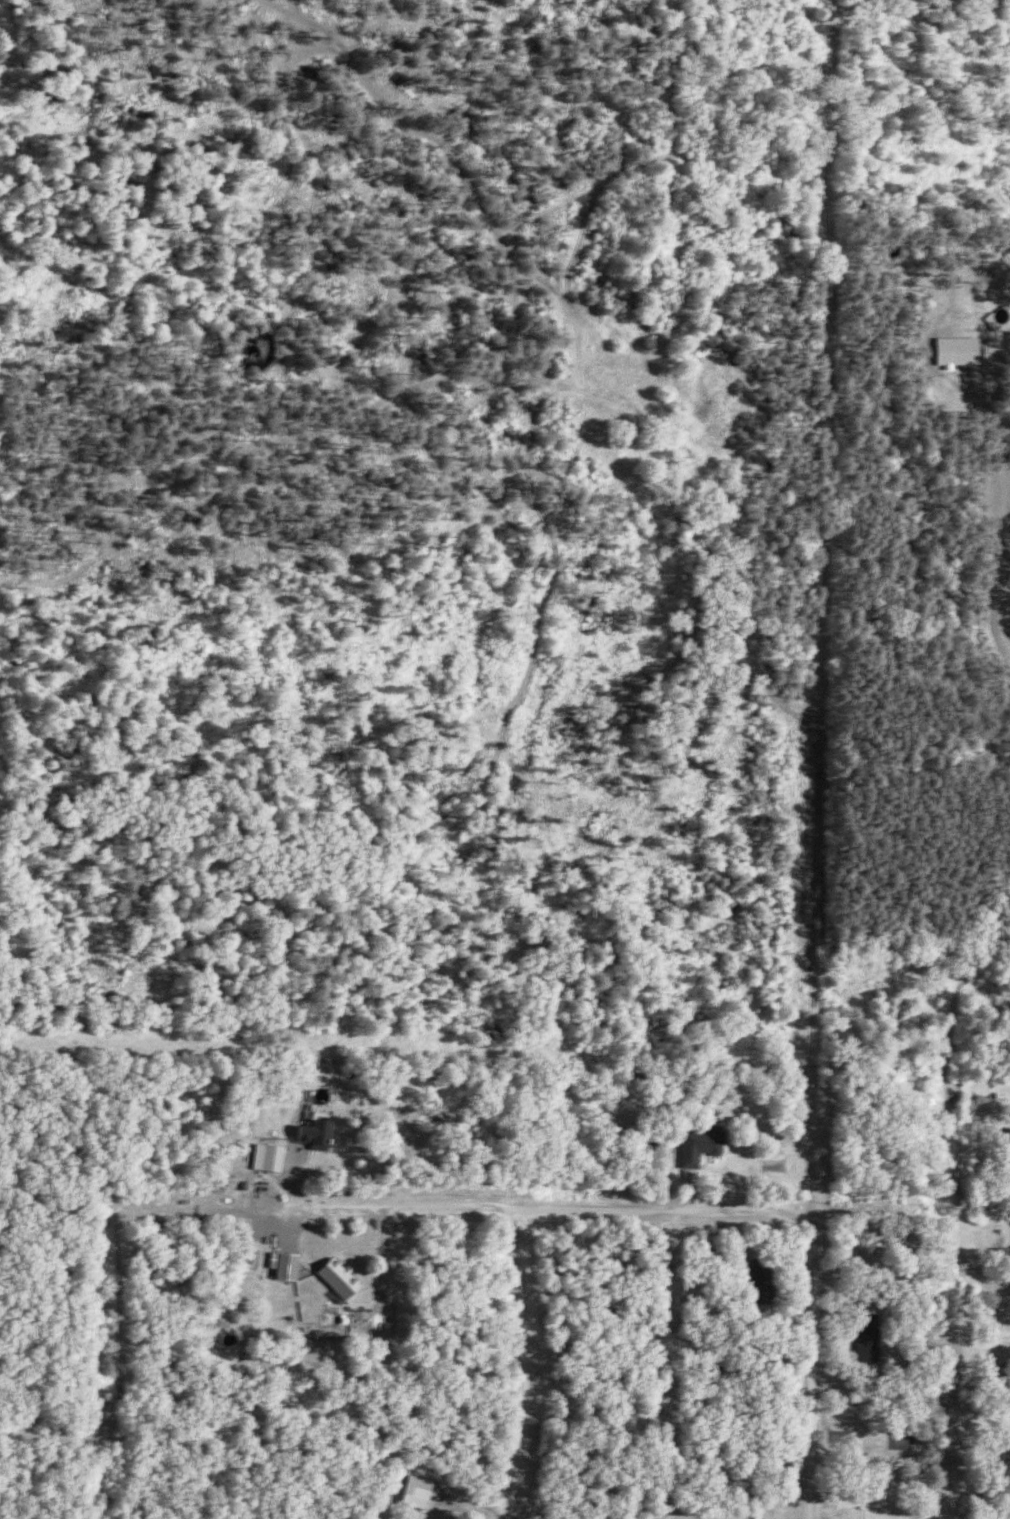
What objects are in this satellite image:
building: (962, 350)
road: (1001, 580)
building: (315, 1133)
building: (703, 1144)
road: (766, 1144)
building: (275, 1157)
building: (270, 1179)
road: (765, 1188)
road: (502, 1210)
building: (287, 1264)
building: (341, 1276)
building: (762, 1281)
building: (872, 1336)
road: (811, 1349)
road: (523, 1365)
building: (419, 1491)

